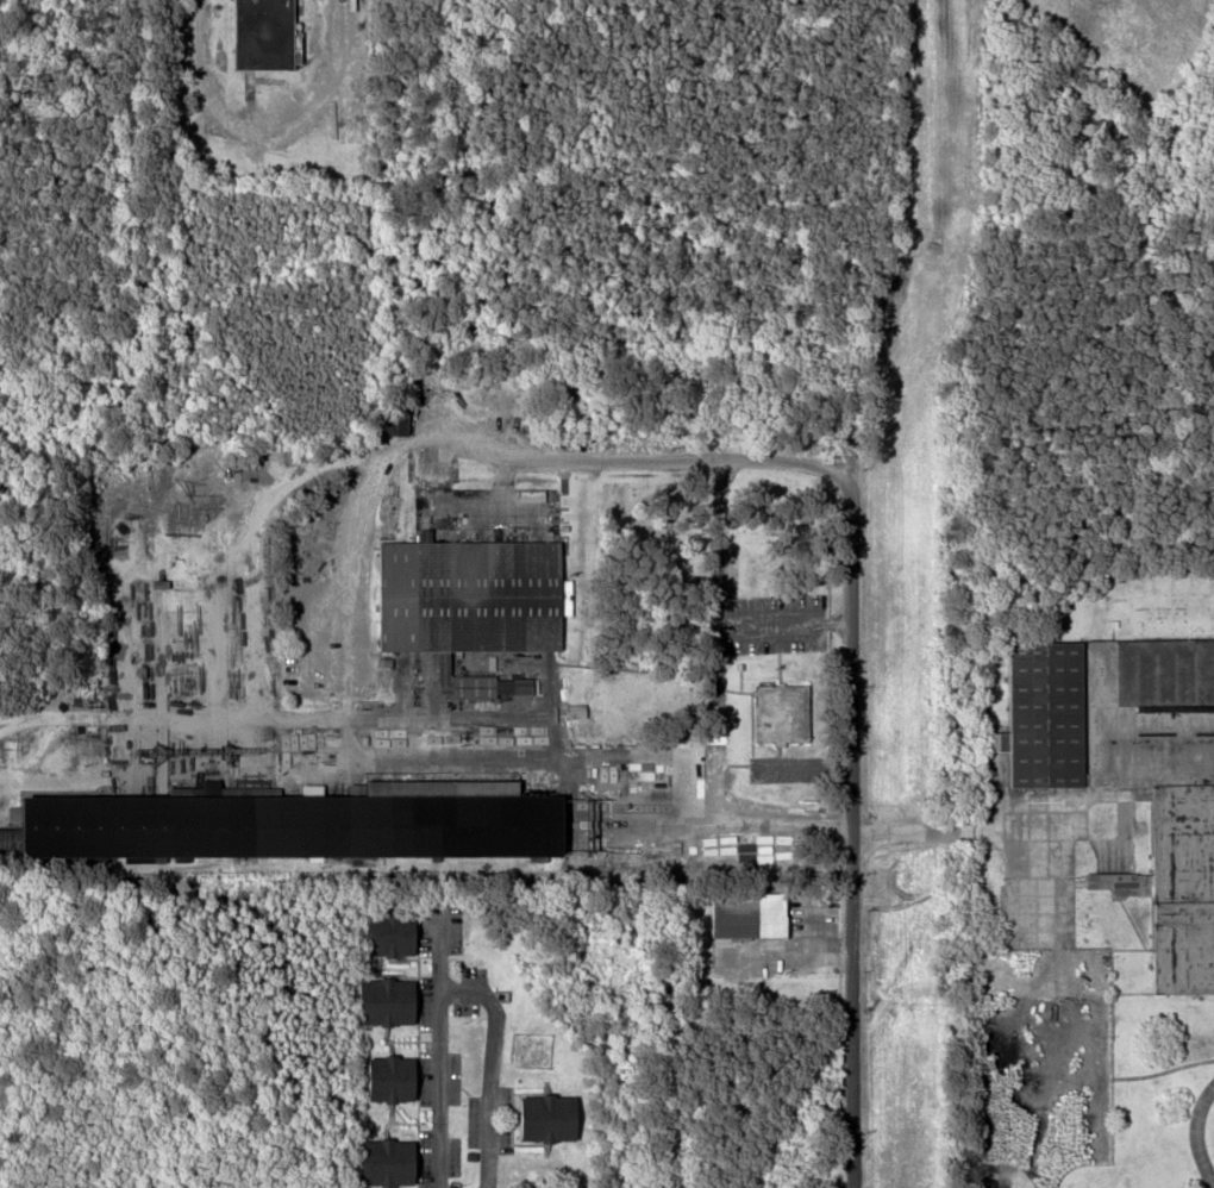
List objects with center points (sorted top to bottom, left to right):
building: (269, 35)
building: (475, 605)
building: (784, 713)
building: (1051, 717)
building: (309, 824)
road: (853, 830)
building: (1106, 863)
building: (1179, 886)
building: (753, 913)
building: (396, 933)
building: (1008, 984)
building: (393, 1001)
building: (1016, 1040)
road: (440, 1049)
road: (493, 1067)
building: (399, 1078)
building: (555, 1118)
building: (394, 1163)

